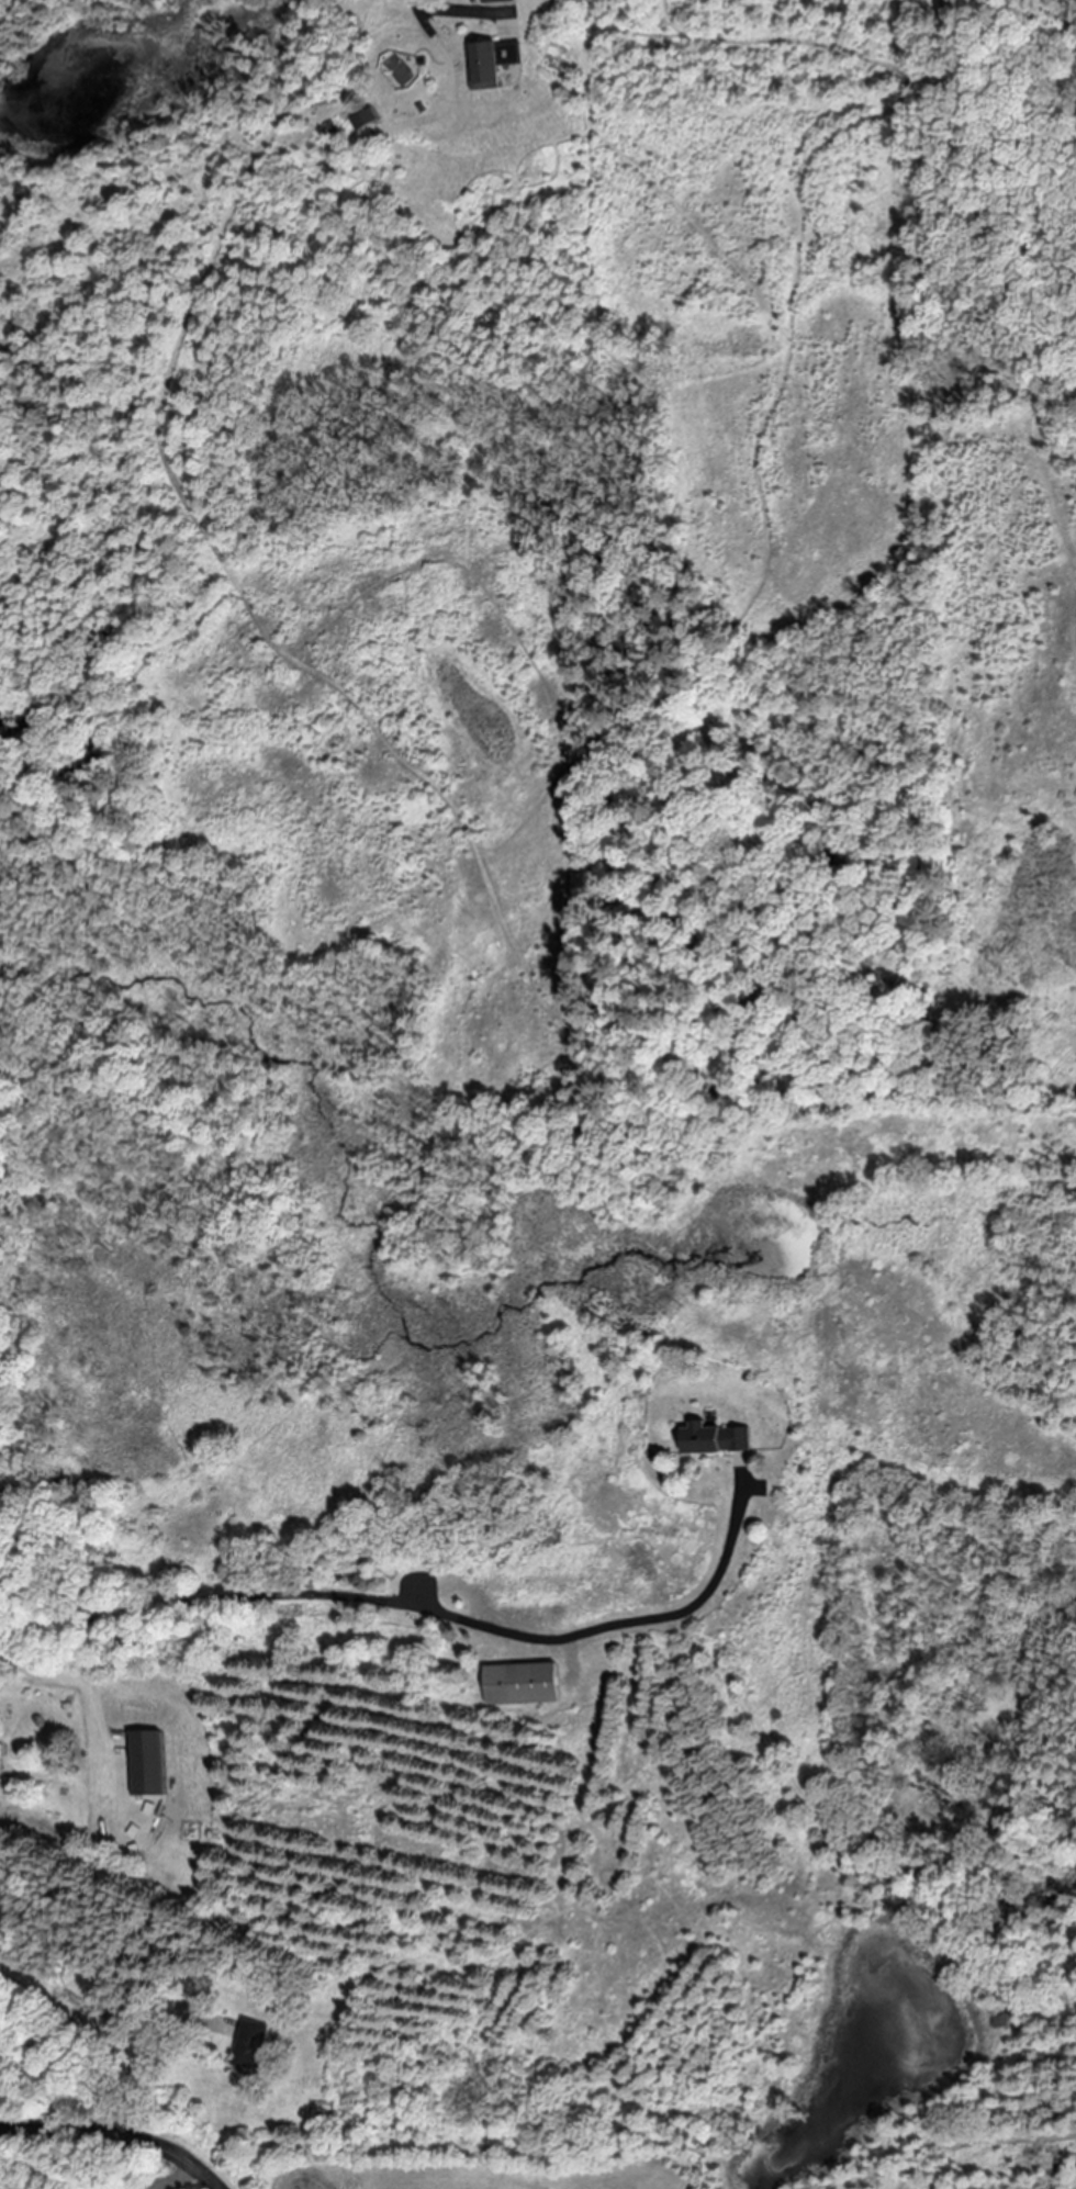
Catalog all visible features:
building: (492, 1)
road: (416, 5)
building: (489, 63)
building: (365, 119)
building: (714, 1439)
road: (412, 1604)
building: (519, 1684)
road: (94, 1696)
building: (145, 1763)
building: (249, 2045)
road: (119, 2133)
road: (175, 2180)

